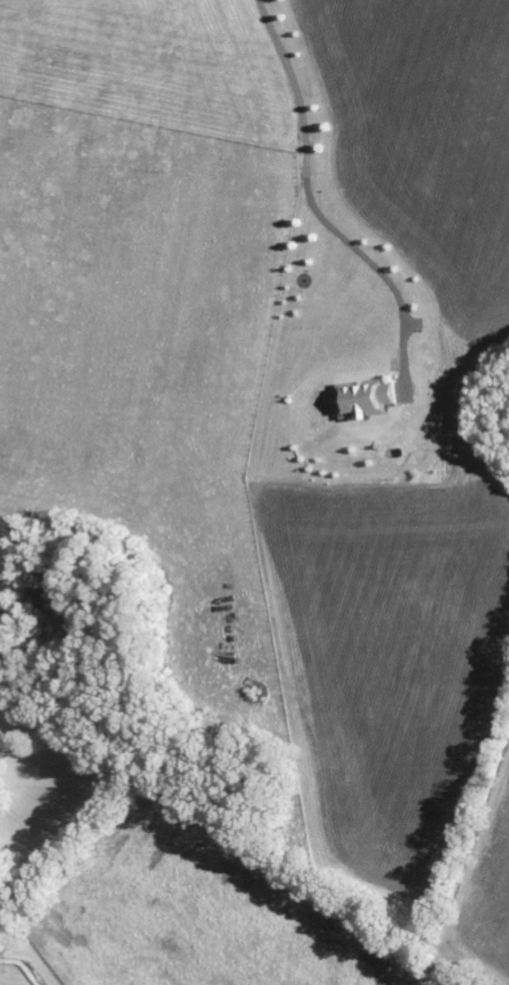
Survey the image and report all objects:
road: (310, 206)
building: (366, 397)

